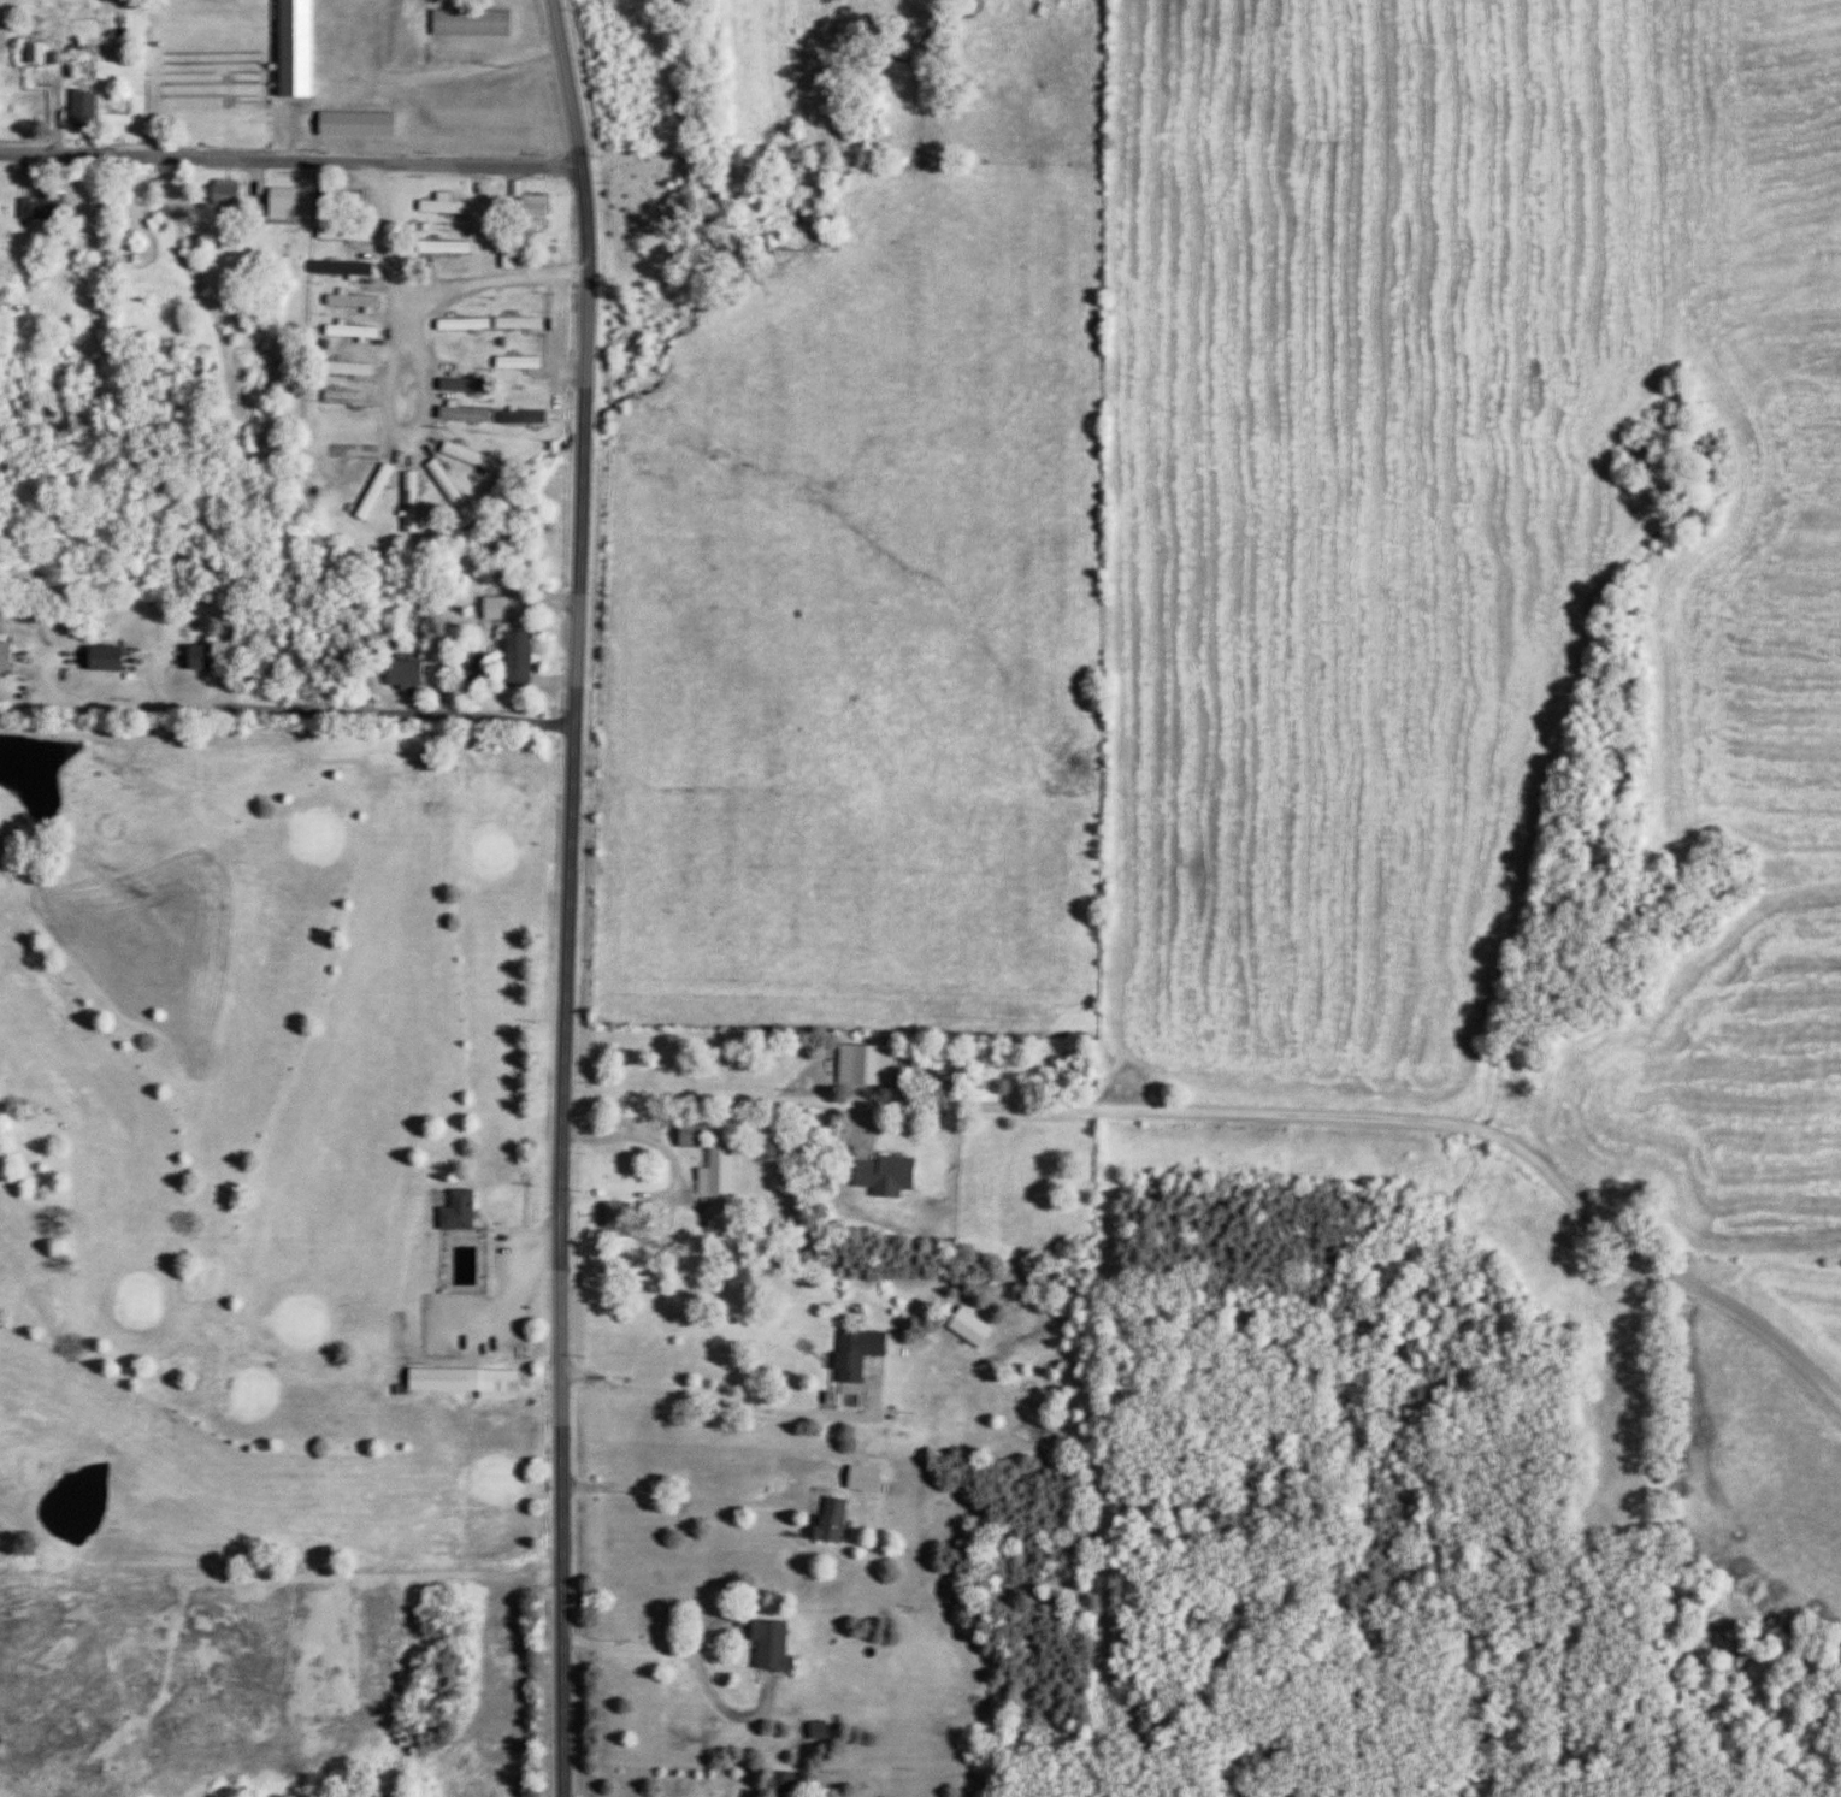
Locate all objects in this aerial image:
building: (465, 24)
building: (25, 53)
building: (77, 110)
road: (290, 160)
building: (218, 199)
building: (337, 200)
building: (435, 206)
building: (277, 207)
building: (36, 208)
building: (527, 213)
building: (338, 235)
building: (437, 248)
building: (504, 258)
building: (336, 268)
road: (492, 284)
road: (399, 297)
building: (346, 301)
building: (511, 324)
building: (456, 325)
building: (344, 332)
road: (557, 342)
building: (459, 350)
building: (511, 363)
building: (338, 370)
road: (572, 372)
building: (458, 386)
building: (336, 397)
building: (458, 415)
building: (515, 419)
building: (465, 457)
building: (439, 484)
building: (368, 493)
building: (405, 502)
building: (2, 656)
building: (195, 658)
building: (99, 660)
building: (512, 661)
building: (466, 668)
building: (399, 674)
road: (285, 707)
road: (567, 897)
building: (861, 1065)
road: (756, 1098)
road: (1445, 1122)
park: (275, 1148)
building: (704, 1158)
building: (879, 1174)
road: (674, 1176)
building: (452, 1211)
building: (613, 1220)
building: (963, 1328)
building: (851, 1353)
building: (461, 1382)
road: (727, 1405)
building: (857, 1479)
road: (688, 1488)
building: (825, 1521)
road: (660, 1644)
building: (763, 1644)
building: (781, 1781)

